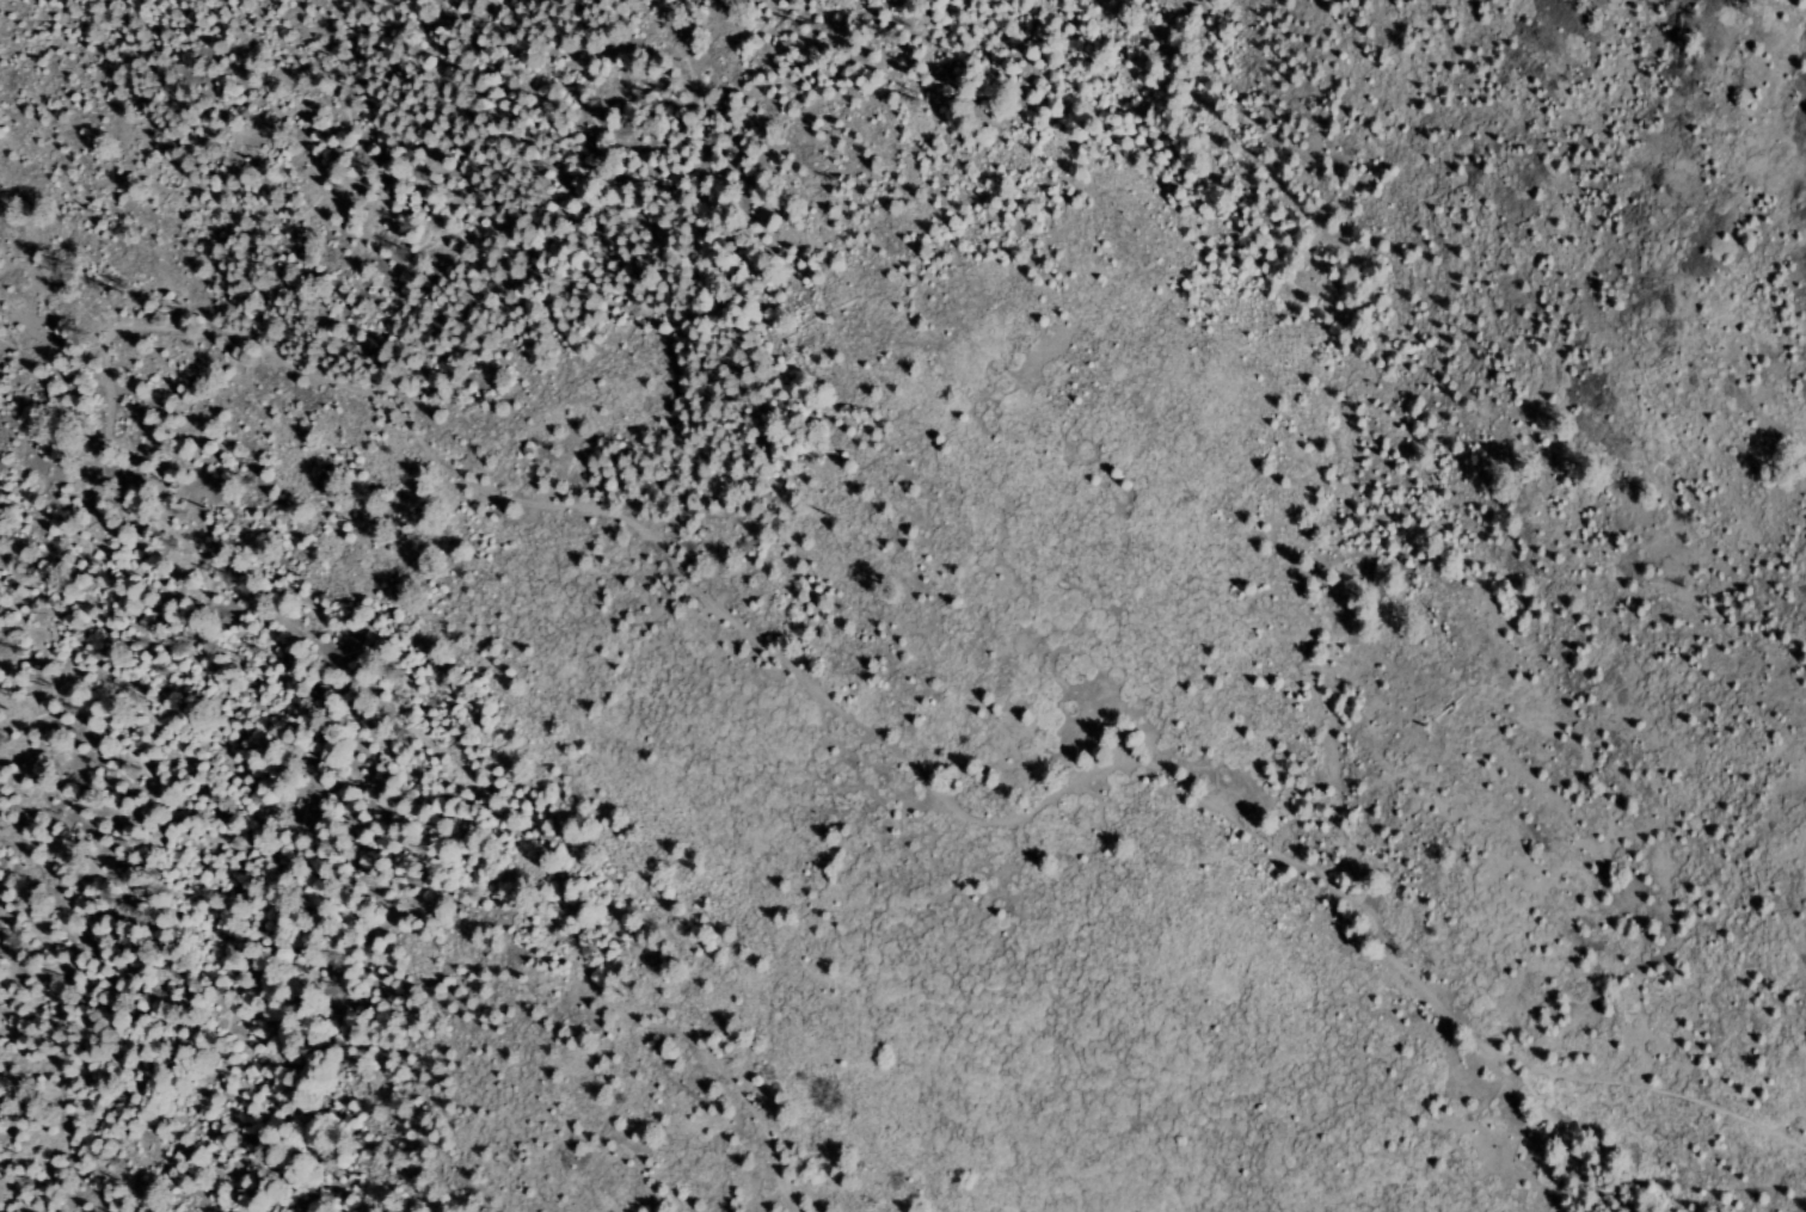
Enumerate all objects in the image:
road: (768, 1138)

